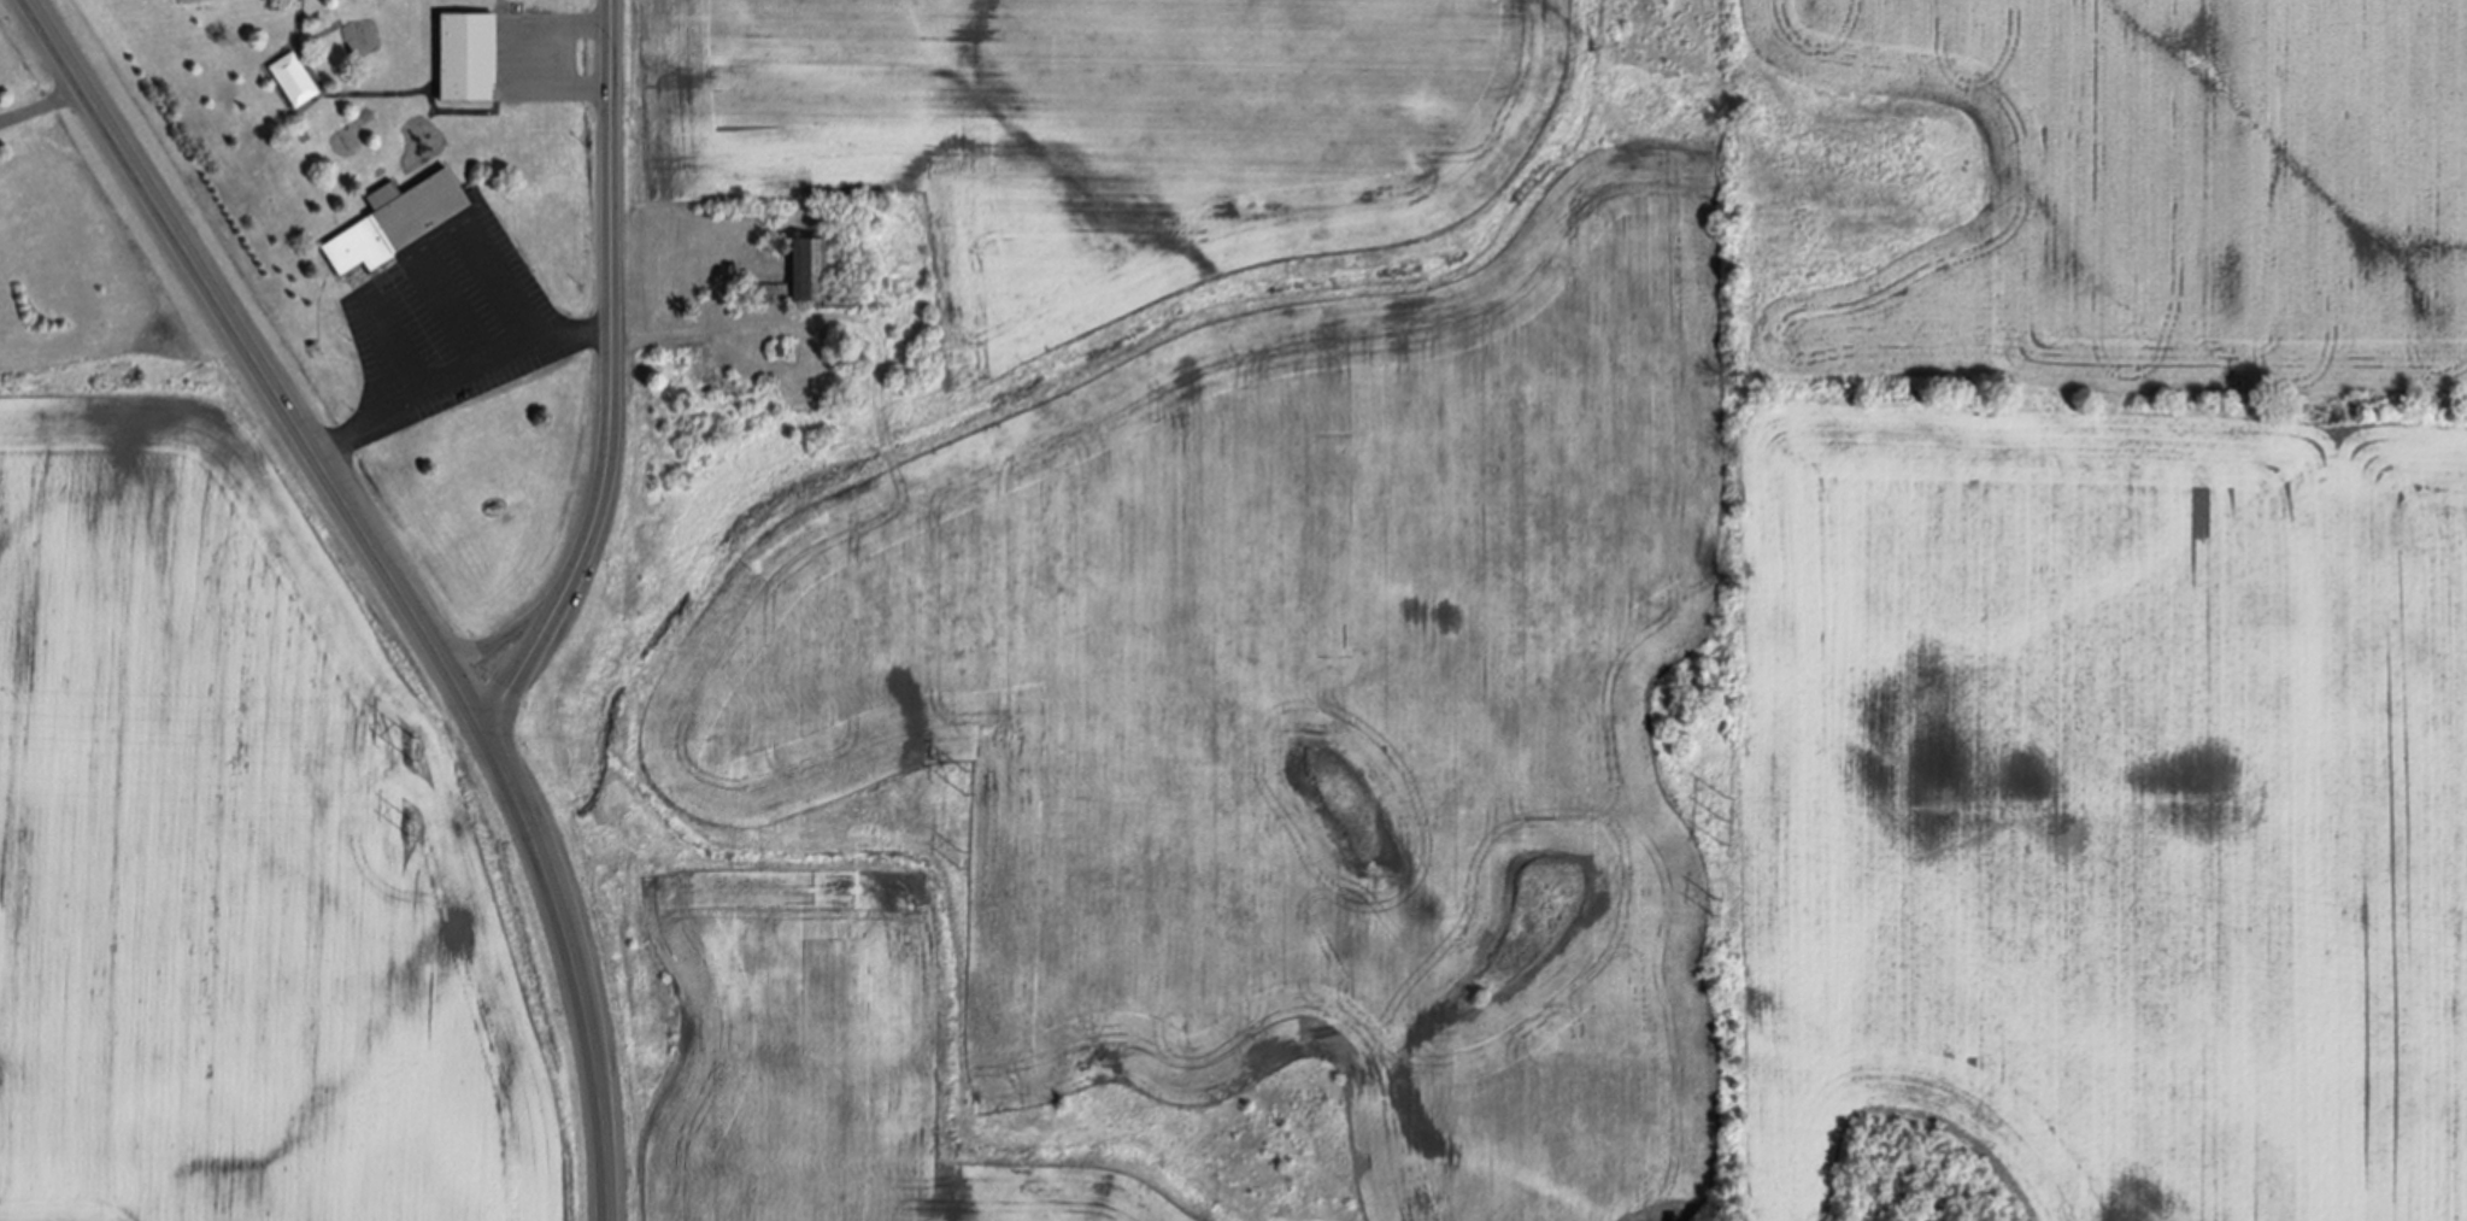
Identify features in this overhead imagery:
road: (304, 28)
building: (481, 66)
building: (294, 76)
road: (40, 98)
road: (423, 98)
park: (282, 111)
building: (409, 228)
building: (781, 243)
building: (804, 277)
road: (500, 280)
road: (454, 306)
road: (571, 334)
building: (841, 336)
road: (394, 340)
building: (777, 347)
road: (249, 352)
road: (474, 357)
building: (698, 374)
road: (612, 375)
road: (370, 424)
power tower: (412, 747)
power tower: (963, 787)
power tower: (406, 820)
power tower: (1720, 833)
power tower: (958, 853)
crop: (242, 855)
power tower: (1711, 905)
road: (569, 955)
building: (1945, 1190)

